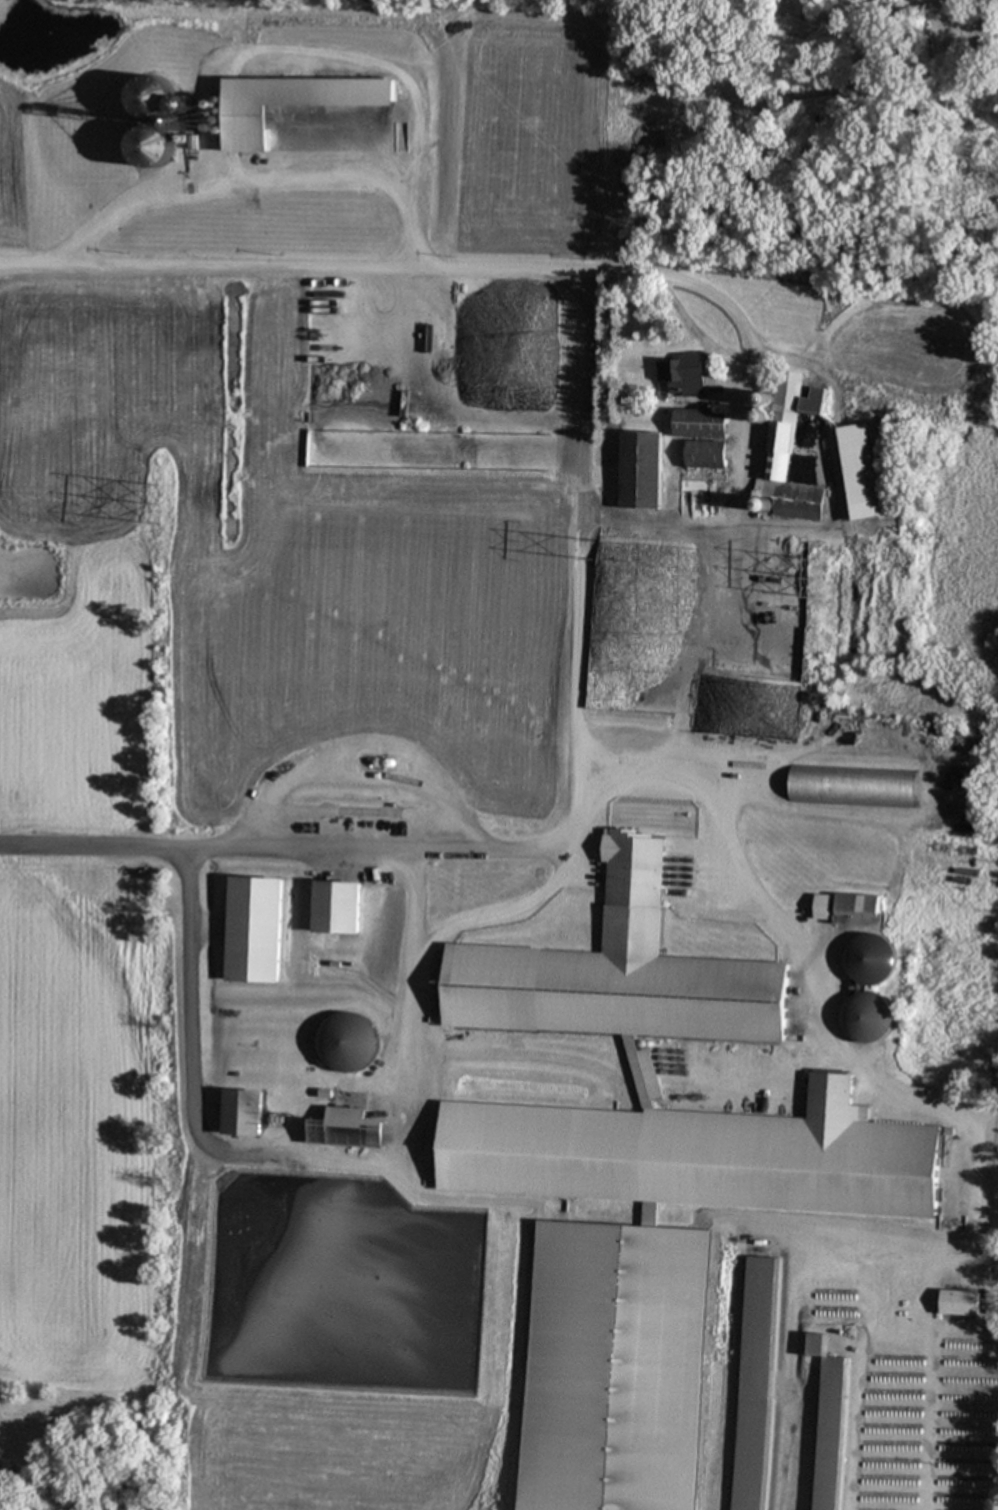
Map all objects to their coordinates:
building: (836, 124)
road: (697, 332)
road: (813, 365)
building: (684, 373)
road: (750, 390)
building: (702, 435)
building: (788, 450)
building: (641, 470)
building: (856, 472)
building: (694, 485)
power tower: (156, 506)
road: (582, 561)
power tower: (823, 578)
building: (853, 786)
building: (858, 905)
building: (336, 906)
building: (822, 906)
road: (502, 909)
building: (254, 928)
building: (871, 959)
road: (808, 968)
building: (868, 1016)
building: (746, 1038)
building: (341, 1048)
building: (244, 1111)
building: (339, 1126)
road: (299, 1155)
road: (423, 1192)
building: (959, 1303)
building: (828, 1424)
building: (752, 1454)

